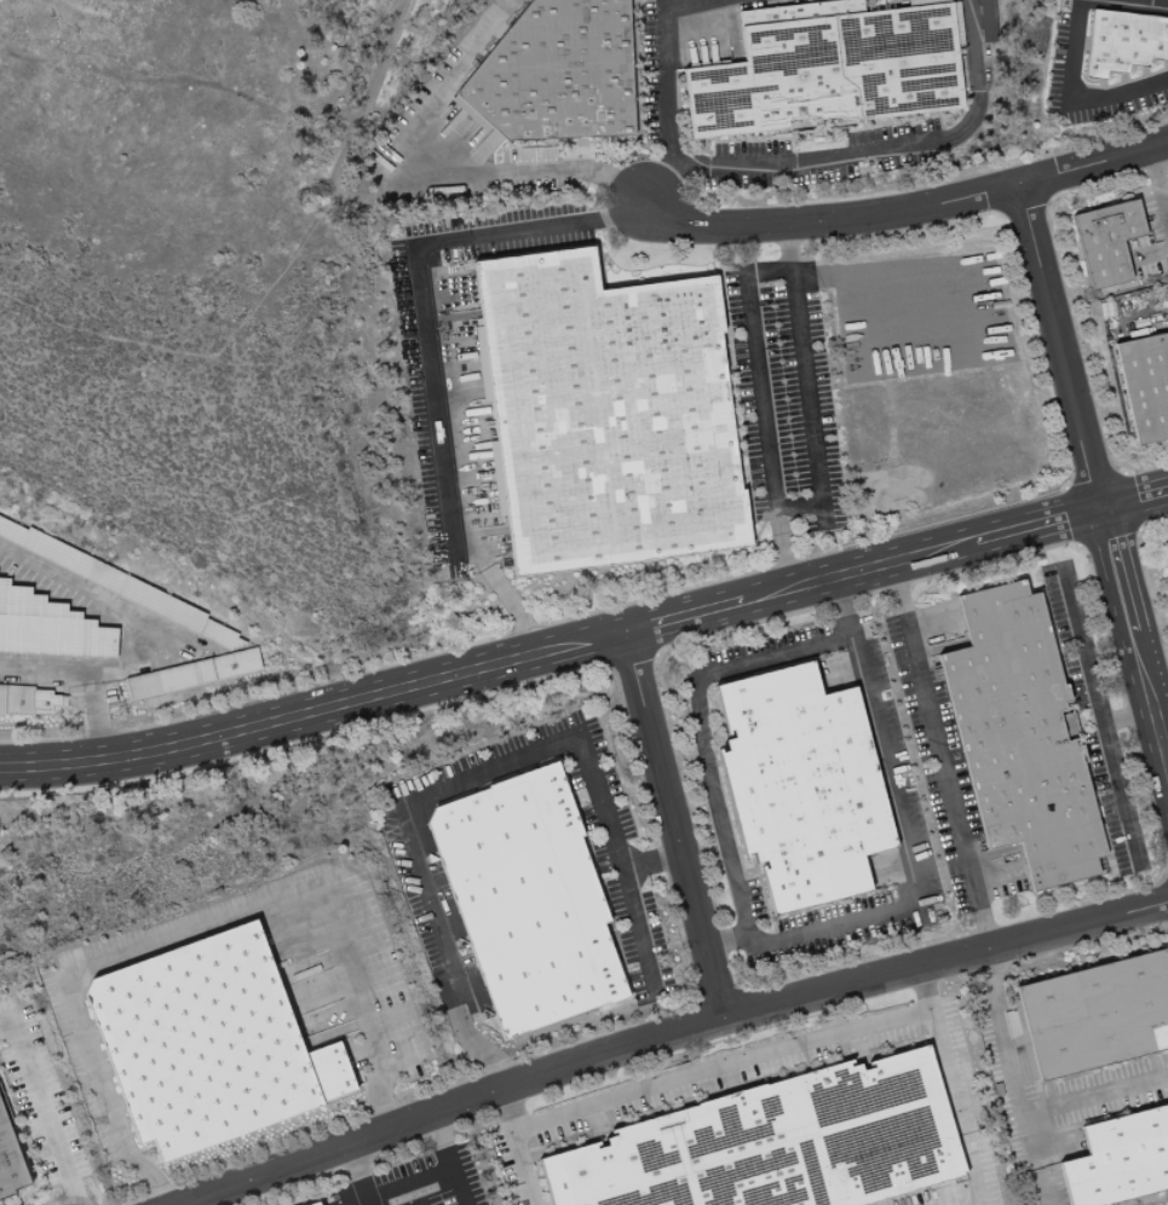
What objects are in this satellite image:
road: (1149, 1)
road: (1152, 1)
building: (989, 21)
building: (1123, 44)
building: (828, 69)
building: (557, 75)
road: (667, 79)
road: (1064, 106)
road: (882, 145)
road: (438, 165)
road: (658, 188)
road: (1156, 196)
road: (910, 212)
building: (1107, 241)
road: (789, 248)
road: (1155, 255)
road: (741, 281)
road: (963, 333)
road: (1064, 347)
road: (427, 352)
building: (1146, 386)
building: (605, 416)
road: (1137, 500)
road: (1040, 525)
building: (1166, 552)
road: (1118, 570)
road: (858, 572)
building: (119, 584)
road: (685, 618)
building: (48, 627)
road: (1088, 673)
building: (192, 675)
road: (1149, 697)
building: (29, 700)
road: (313, 710)
road: (1161, 716)
building: (1020, 738)
road: (937, 755)
building: (801, 786)
road: (439, 790)
road: (1120, 794)
road: (679, 826)
road: (996, 880)
building: (528, 900)
road: (207, 922)
road: (637, 930)
road: (776, 940)
building: (1097, 1015)
road: (680, 1037)
building: (208, 1045)
road: (725, 1074)
road: (950, 1084)
road: (42, 1106)
road: (1019, 1107)
road: (444, 1140)
building: (777, 1145)
road: (522, 1149)
building: (1120, 1160)
road: (1034, 1161)
building: (10, 1164)
road: (355, 1174)
road: (404, 1181)
road: (459, 1184)
road: (413, 1192)
building: (316, 1204)

